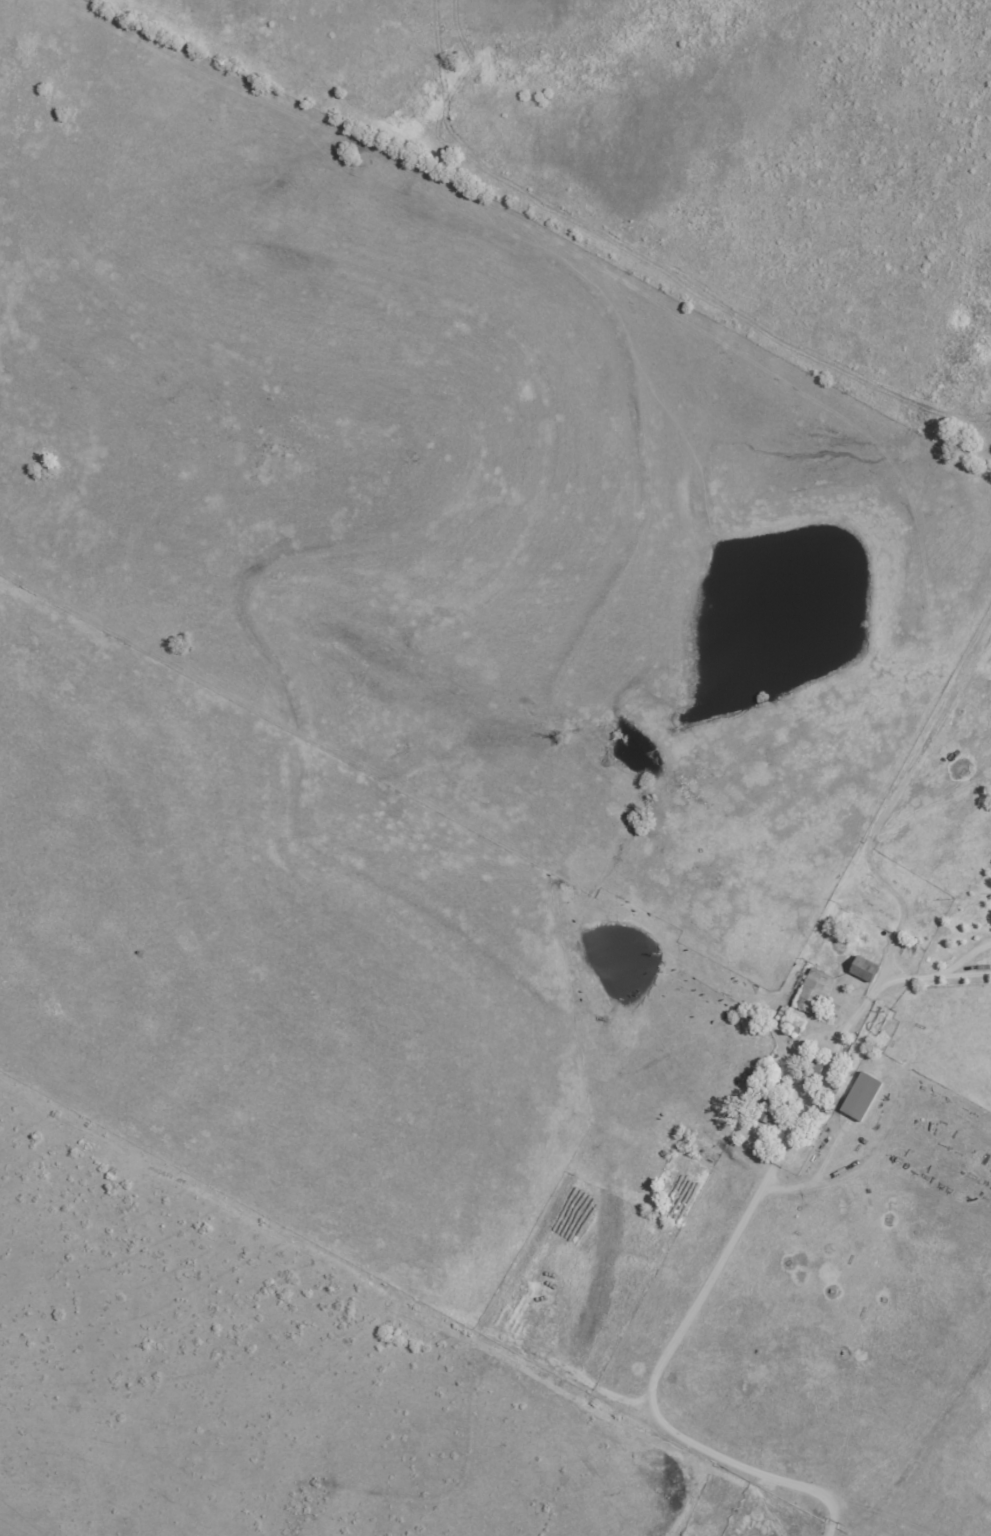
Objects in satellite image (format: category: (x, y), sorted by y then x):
road: (965, 957)
building: (866, 969)
road: (966, 974)
building: (815, 992)
building: (792, 1019)
building: (814, 1069)
building: (769, 1074)
building: (863, 1096)
building: (774, 1108)
road: (716, 1270)

